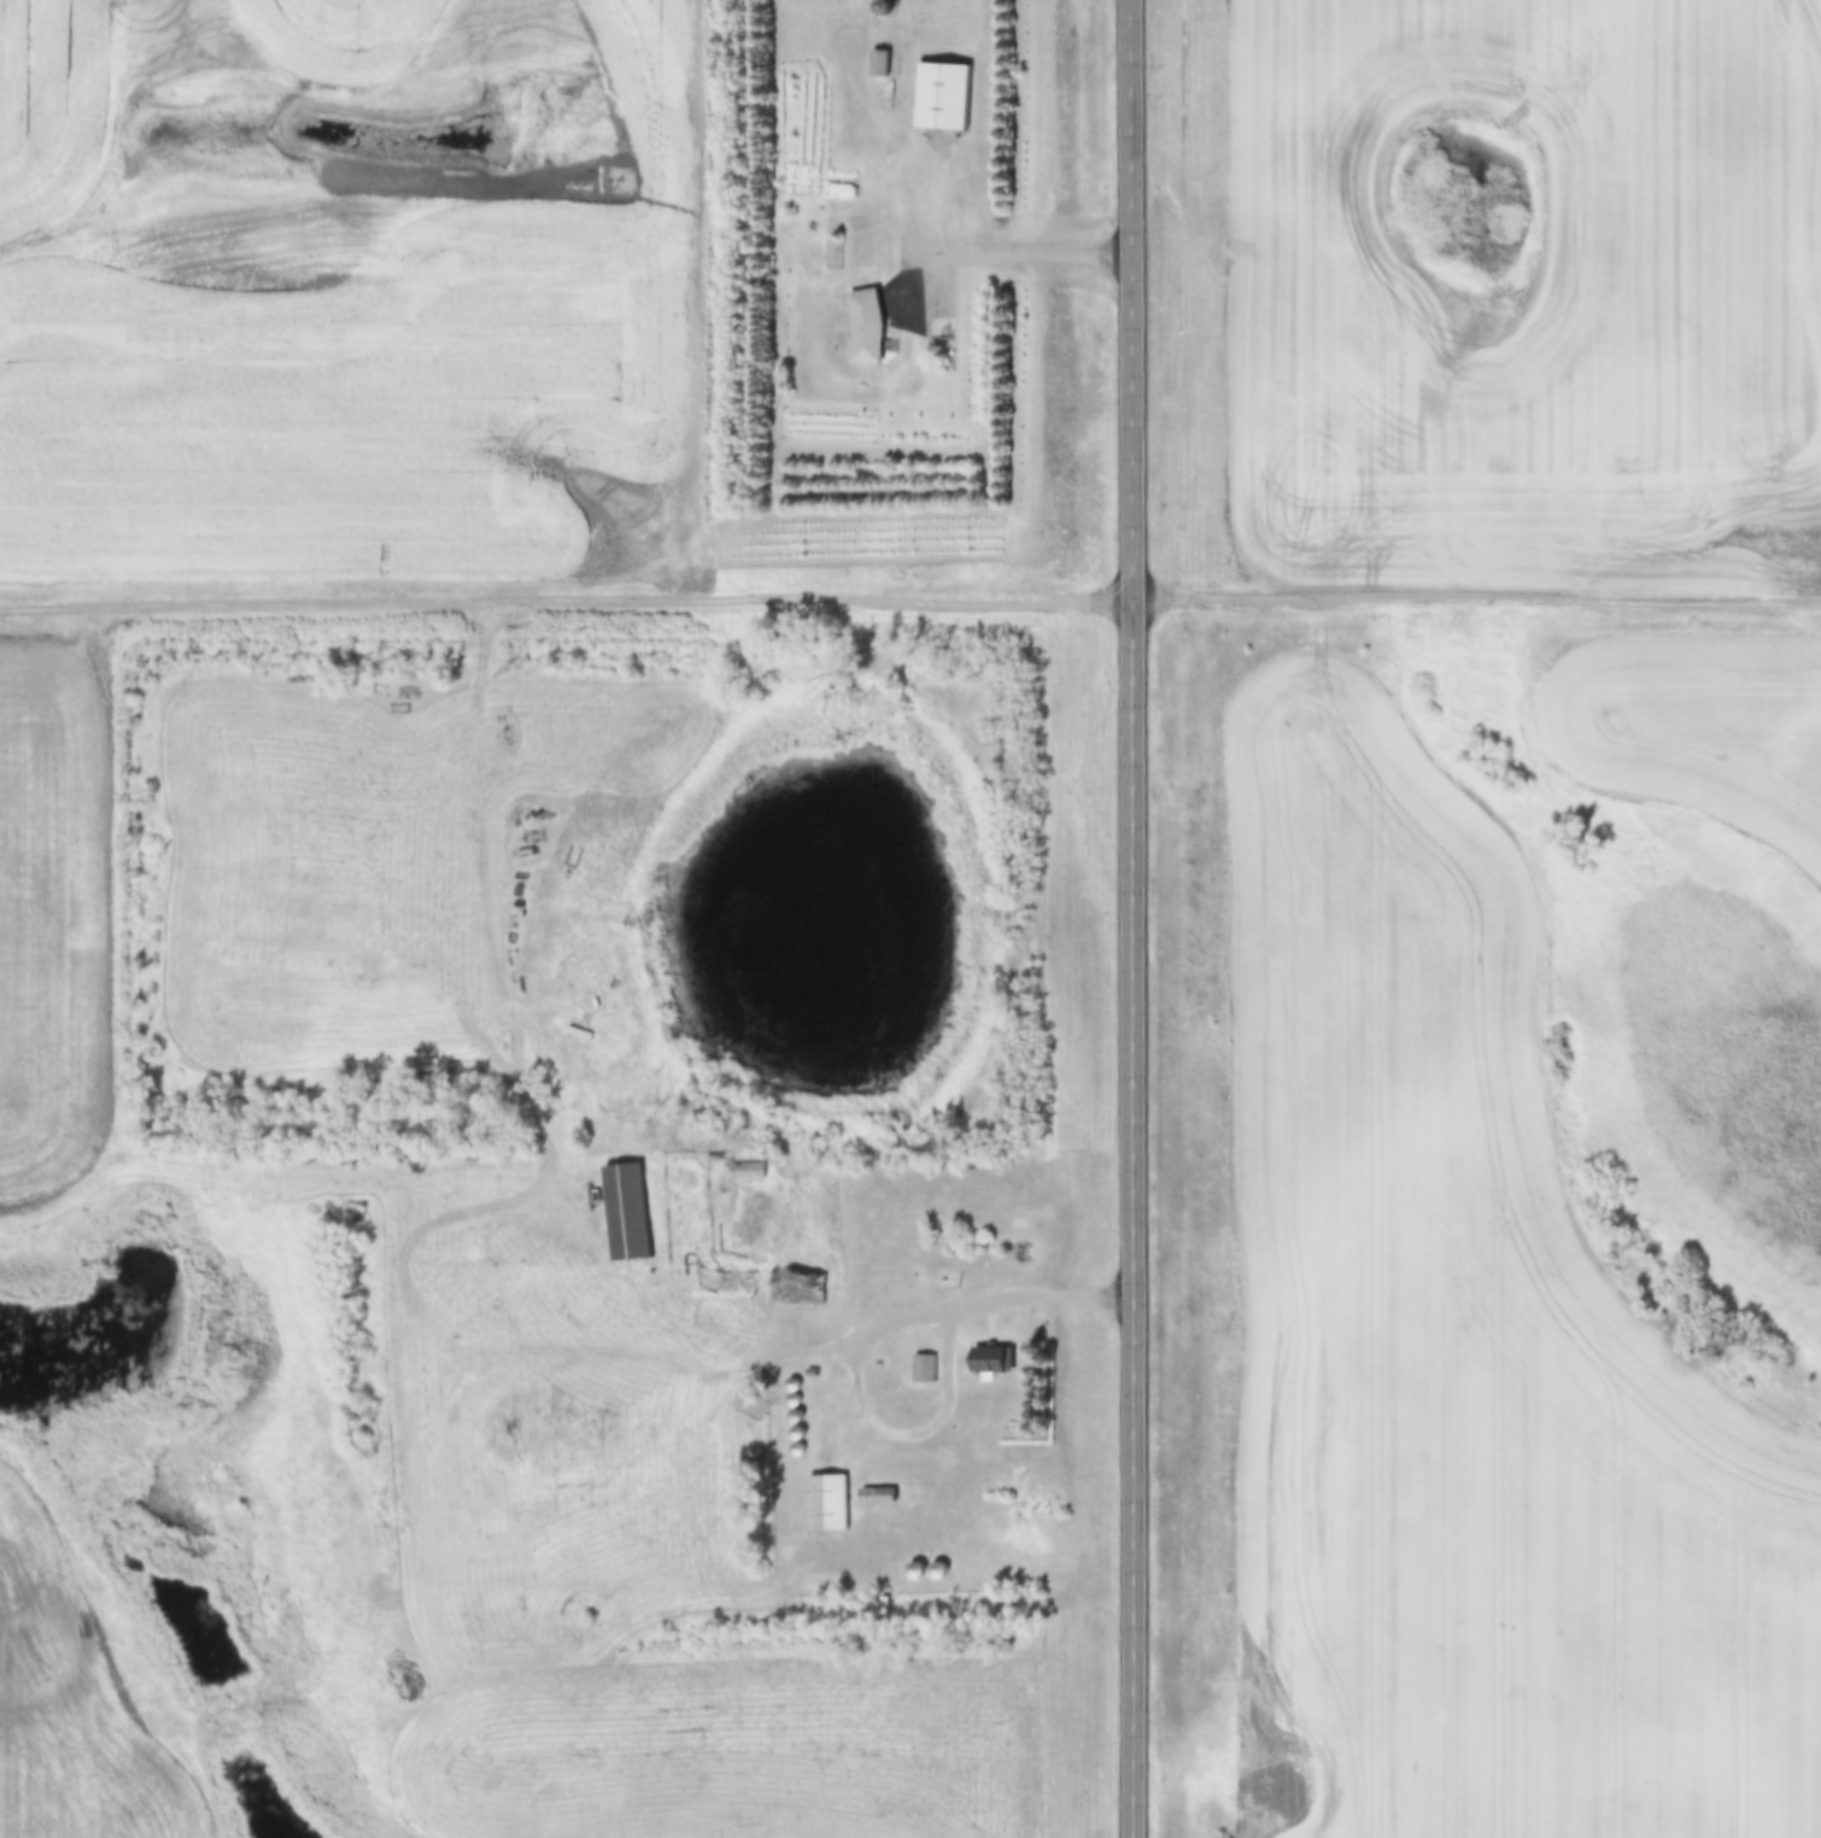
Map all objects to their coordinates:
building: (882, 6)
silo: (882, 6)
building: (876, 83)
building: (938, 96)
road: (1136, 239)
road: (1024, 250)
road: (912, 289)
building: (861, 328)
road: (909, 595)
road: (1136, 1159)
building: (746, 1172)
building: (623, 1214)
building: (796, 1289)
road: (865, 1330)
building: (985, 1362)
building: (923, 1369)
building: (810, 1374)
building: (794, 1385)
silo: (794, 1385)
building: (795, 1400)
silo: (795, 1400)
building: (796, 1416)
silo: (796, 1416)
building: (797, 1433)
silo: (797, 1433)
building: (798, 1450)
silo: (798, 1450)
building: (876, 1497)
building: (824, 1504)
building: (938, 1570)
silo: (938, 1570)
building: (915, 1571)
silo: (915, 1571)

